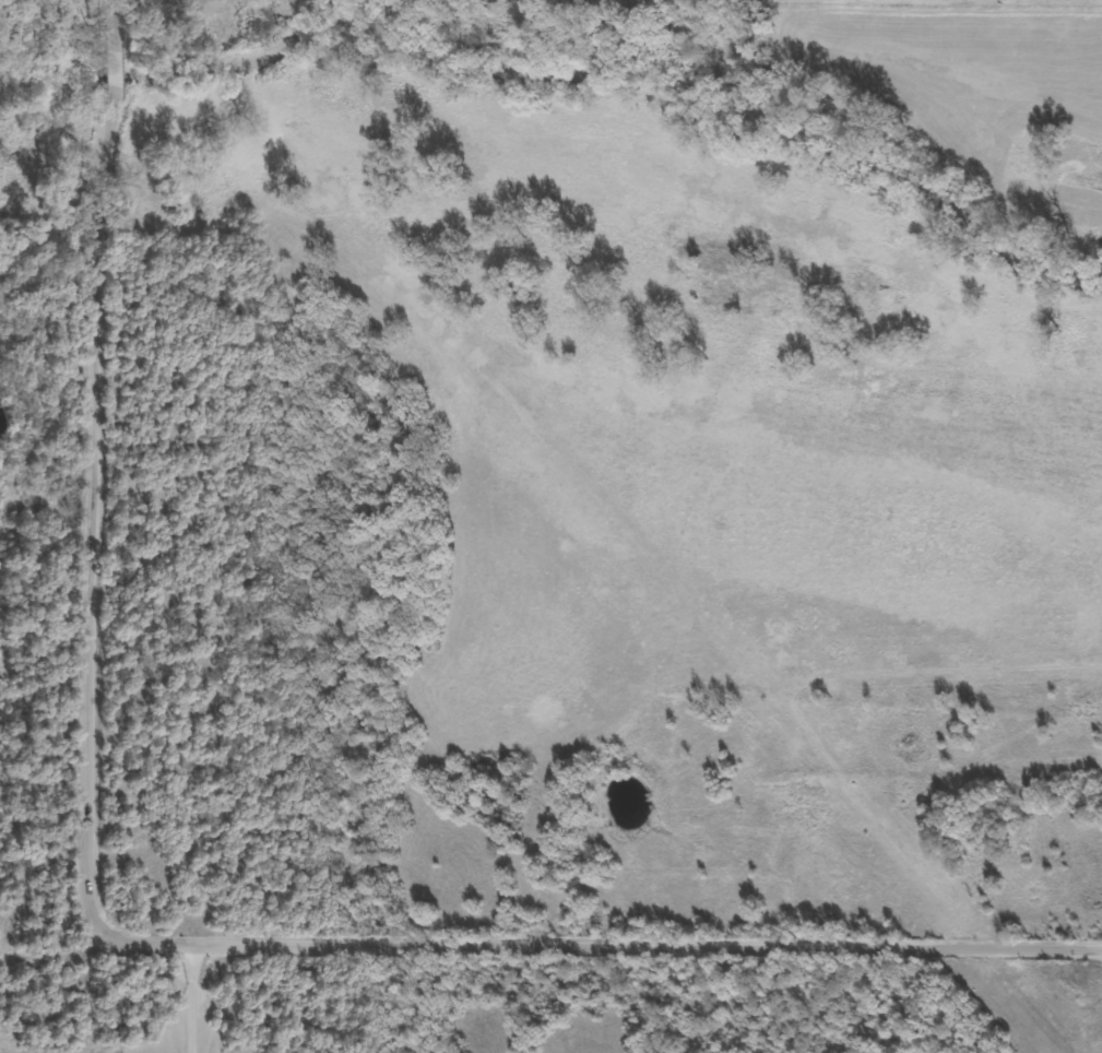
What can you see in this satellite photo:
road: (174, 955)
road: (224, 1025)

